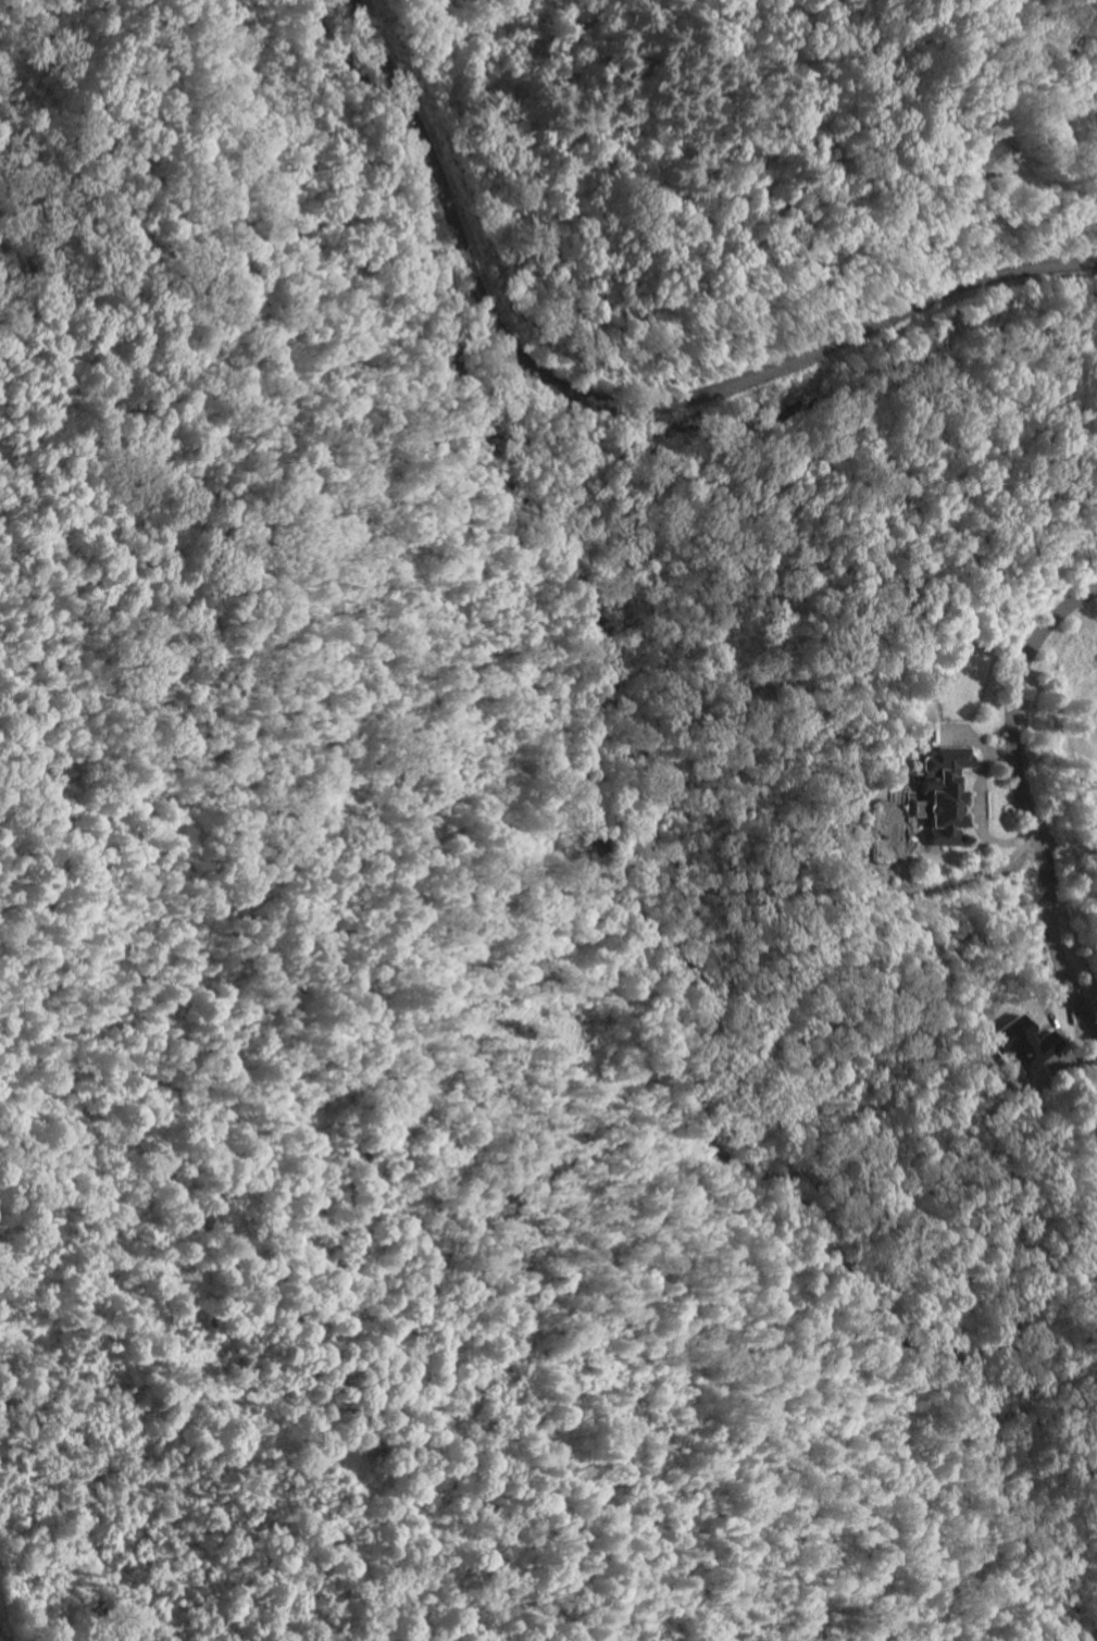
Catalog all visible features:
road: (616, 407)
park: (1079, 712)
road: (1024, 800)
road: (975, 807)

